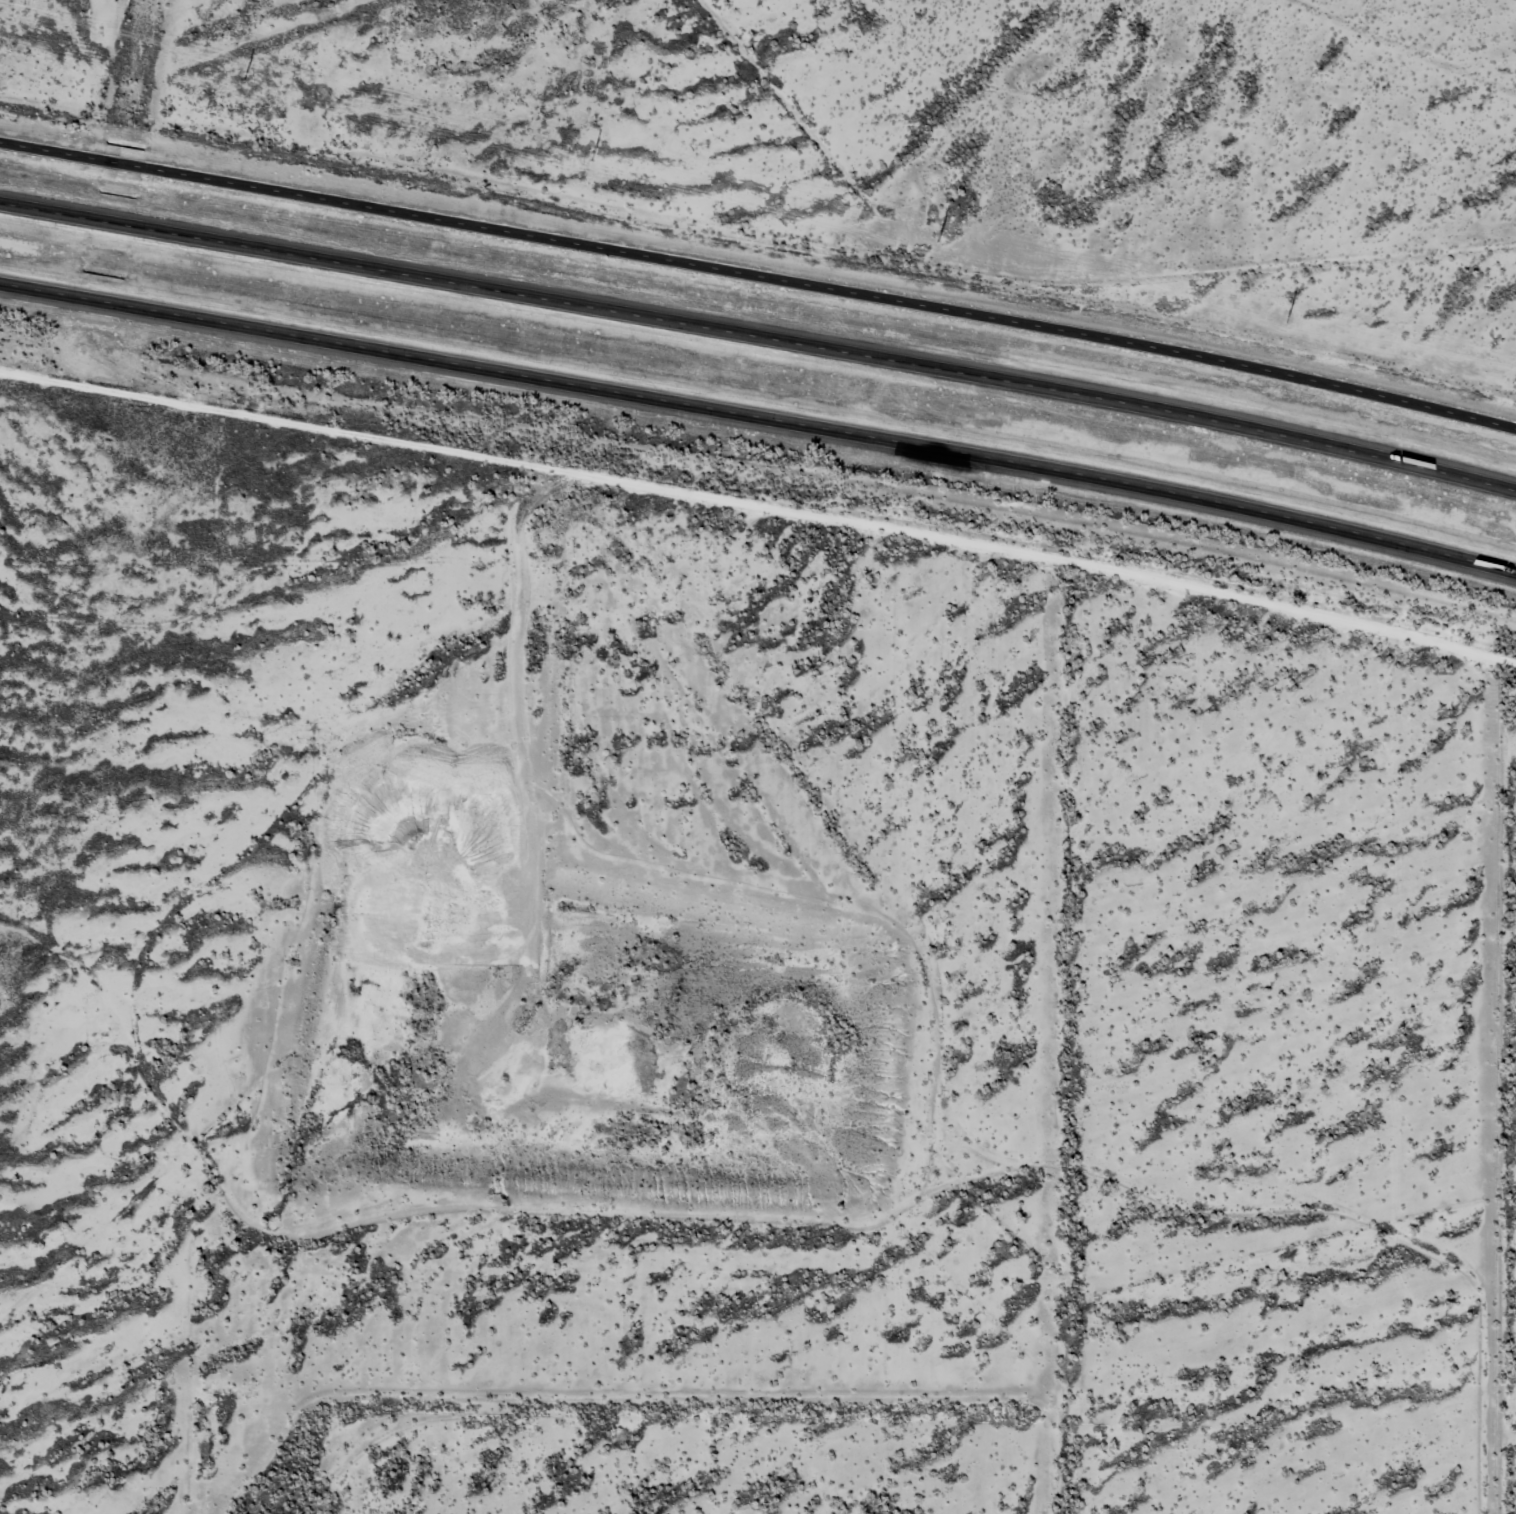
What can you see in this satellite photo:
power tower: (246, 74)
power tower: (593, 154)
power tower: (939, 236)
road: (760, 269)
power tower: (1289, 316)
road: (761, 330)
road: (760, 422)

